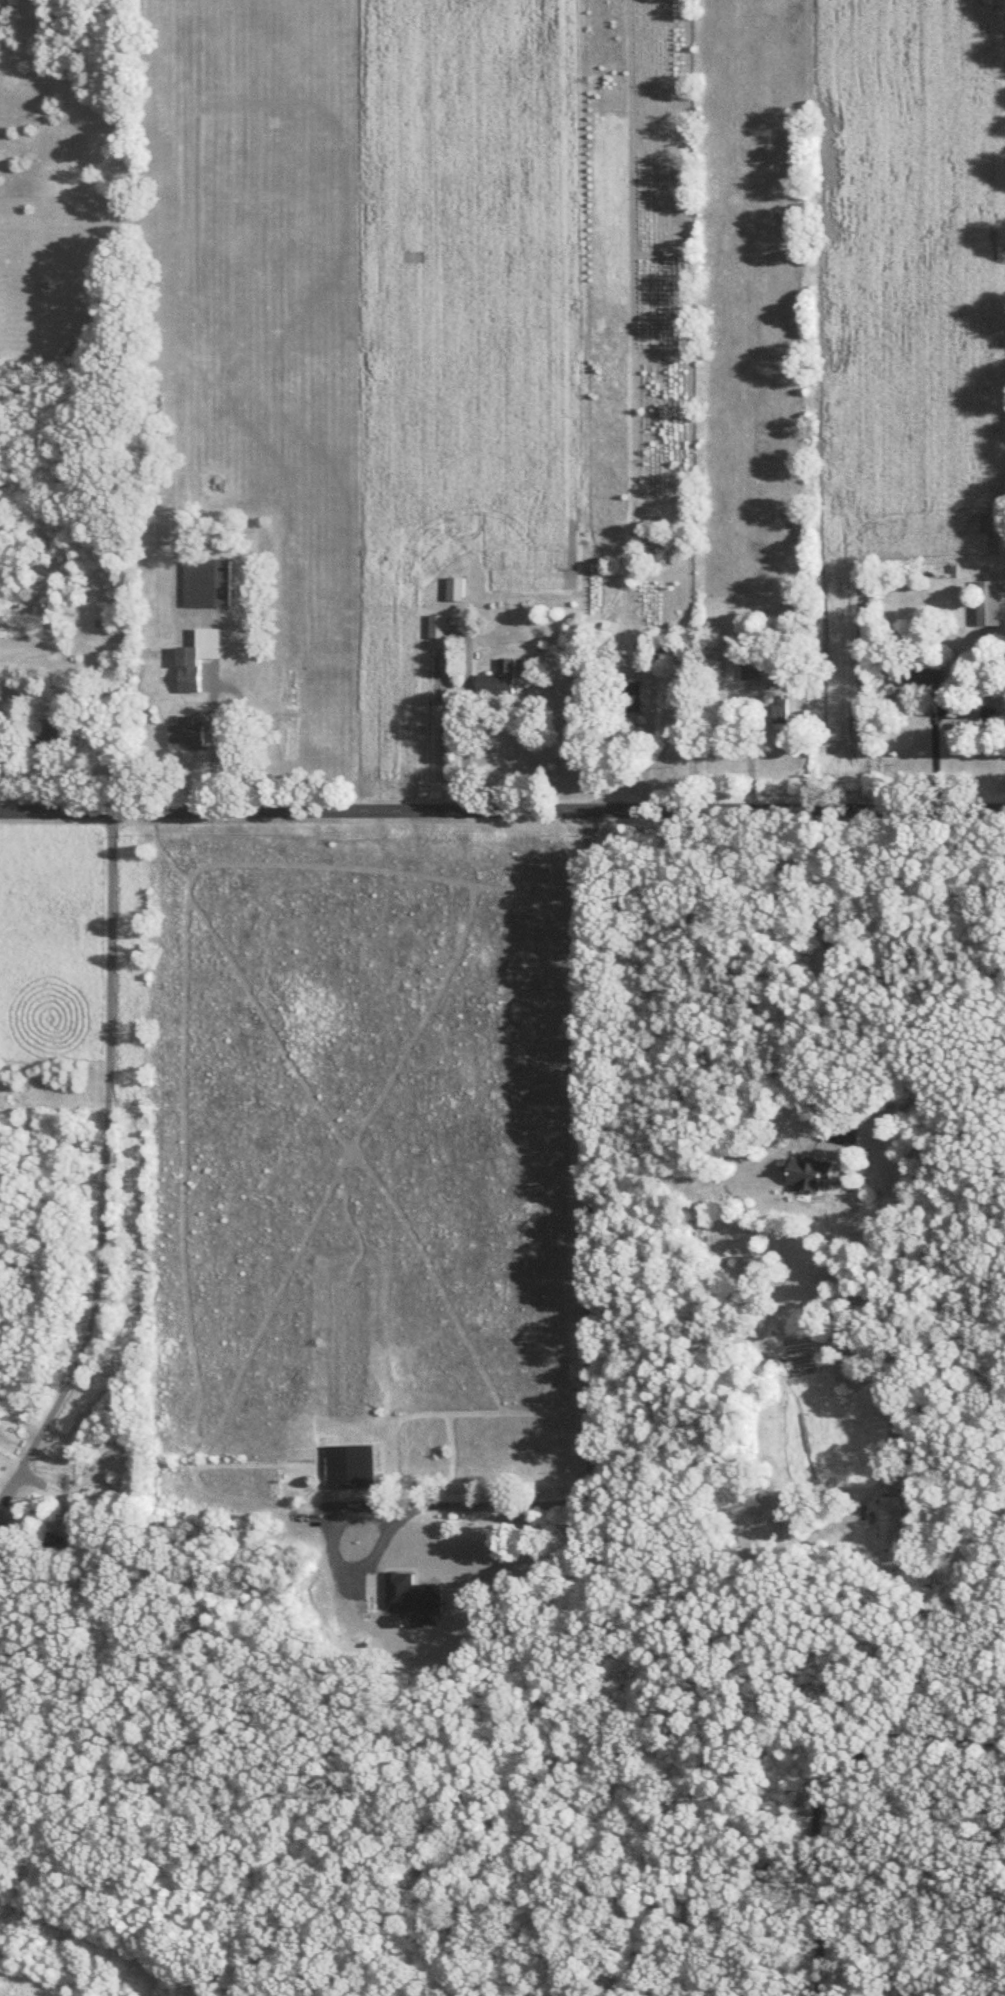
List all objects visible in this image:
building: (208, 580)
building: (455, 586)
building: (989, 600)
building: (438, 624)
building: (198, 656)
building: (751, 667)
road: (624, 672)
building: (498, 676)
road: (224, 684)
building: (634, 695)
building: (779, 708)
road: (464, 710)
building: (987, 712)
building: (187, 731)
road: (521, 747)
road: (749, 750)
road: (933, 750)
road: (502, 807)
road: (836, 1010)
road: (108, 1162)
building: (807, 1170)
road: (588, 1344)
building: (349, 1464)
building: (891, 1519)
building: (3, 1524)
building: (413, 1598)
road: (820, 1790)

